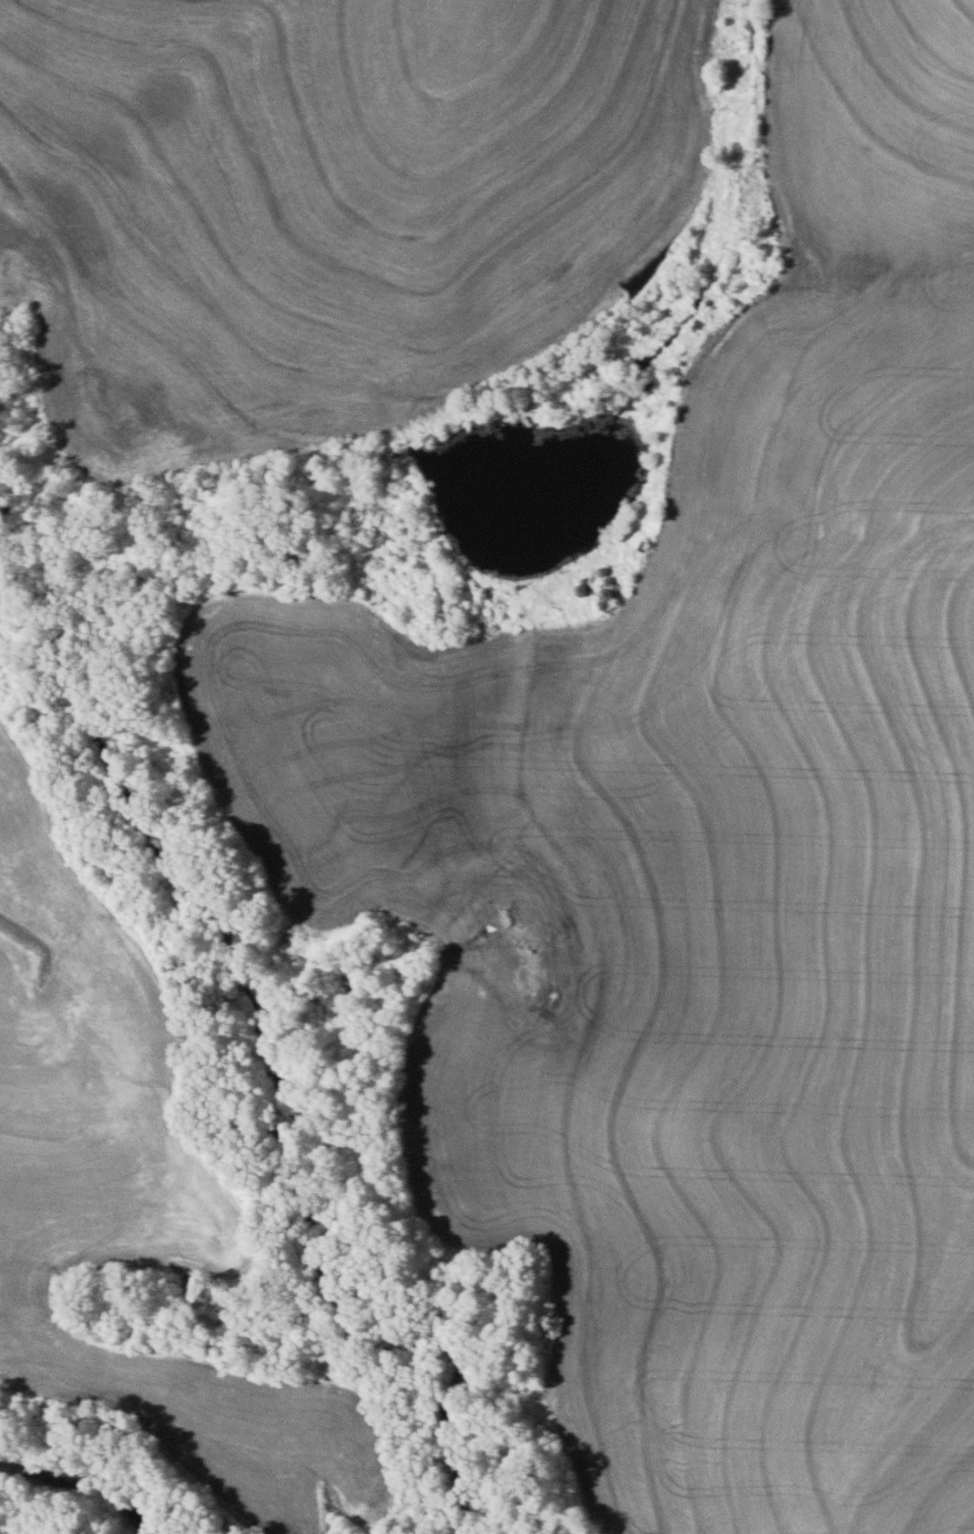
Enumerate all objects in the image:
road: (810, 526)

